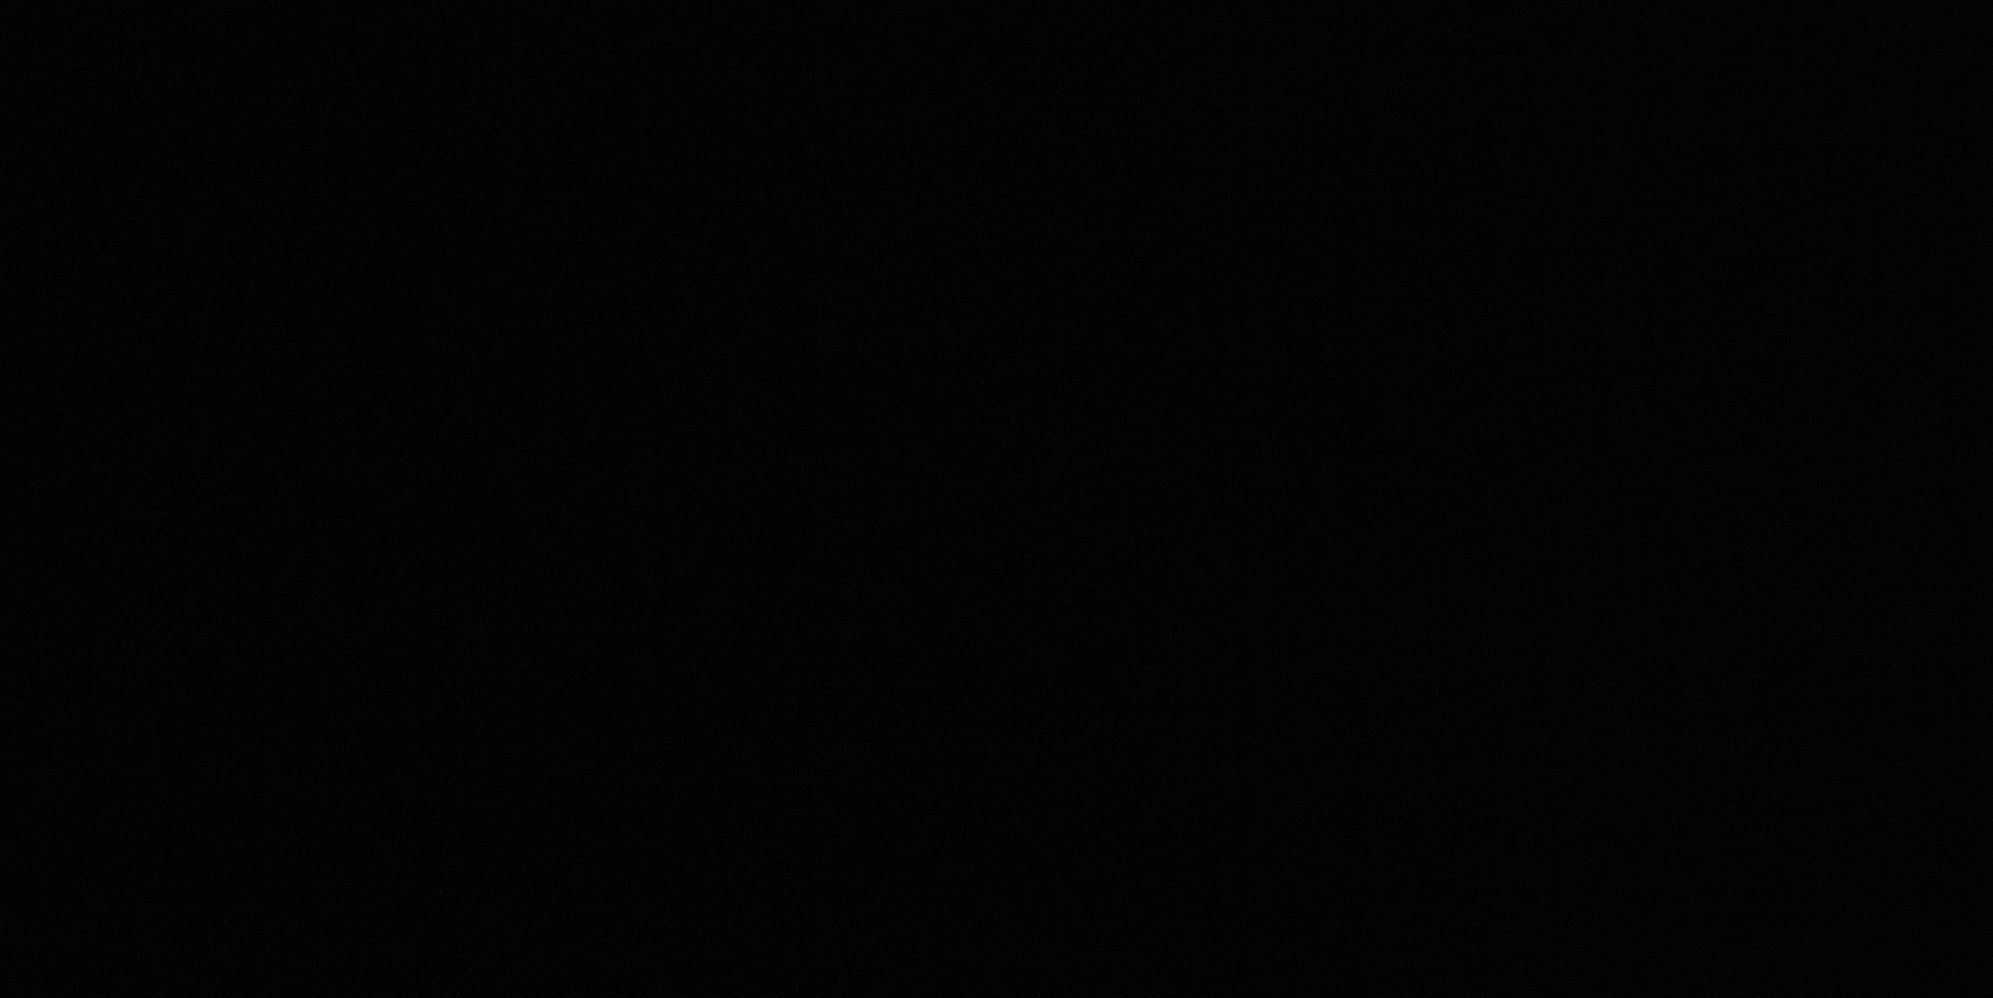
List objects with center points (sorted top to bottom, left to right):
river: (1541, 294)

